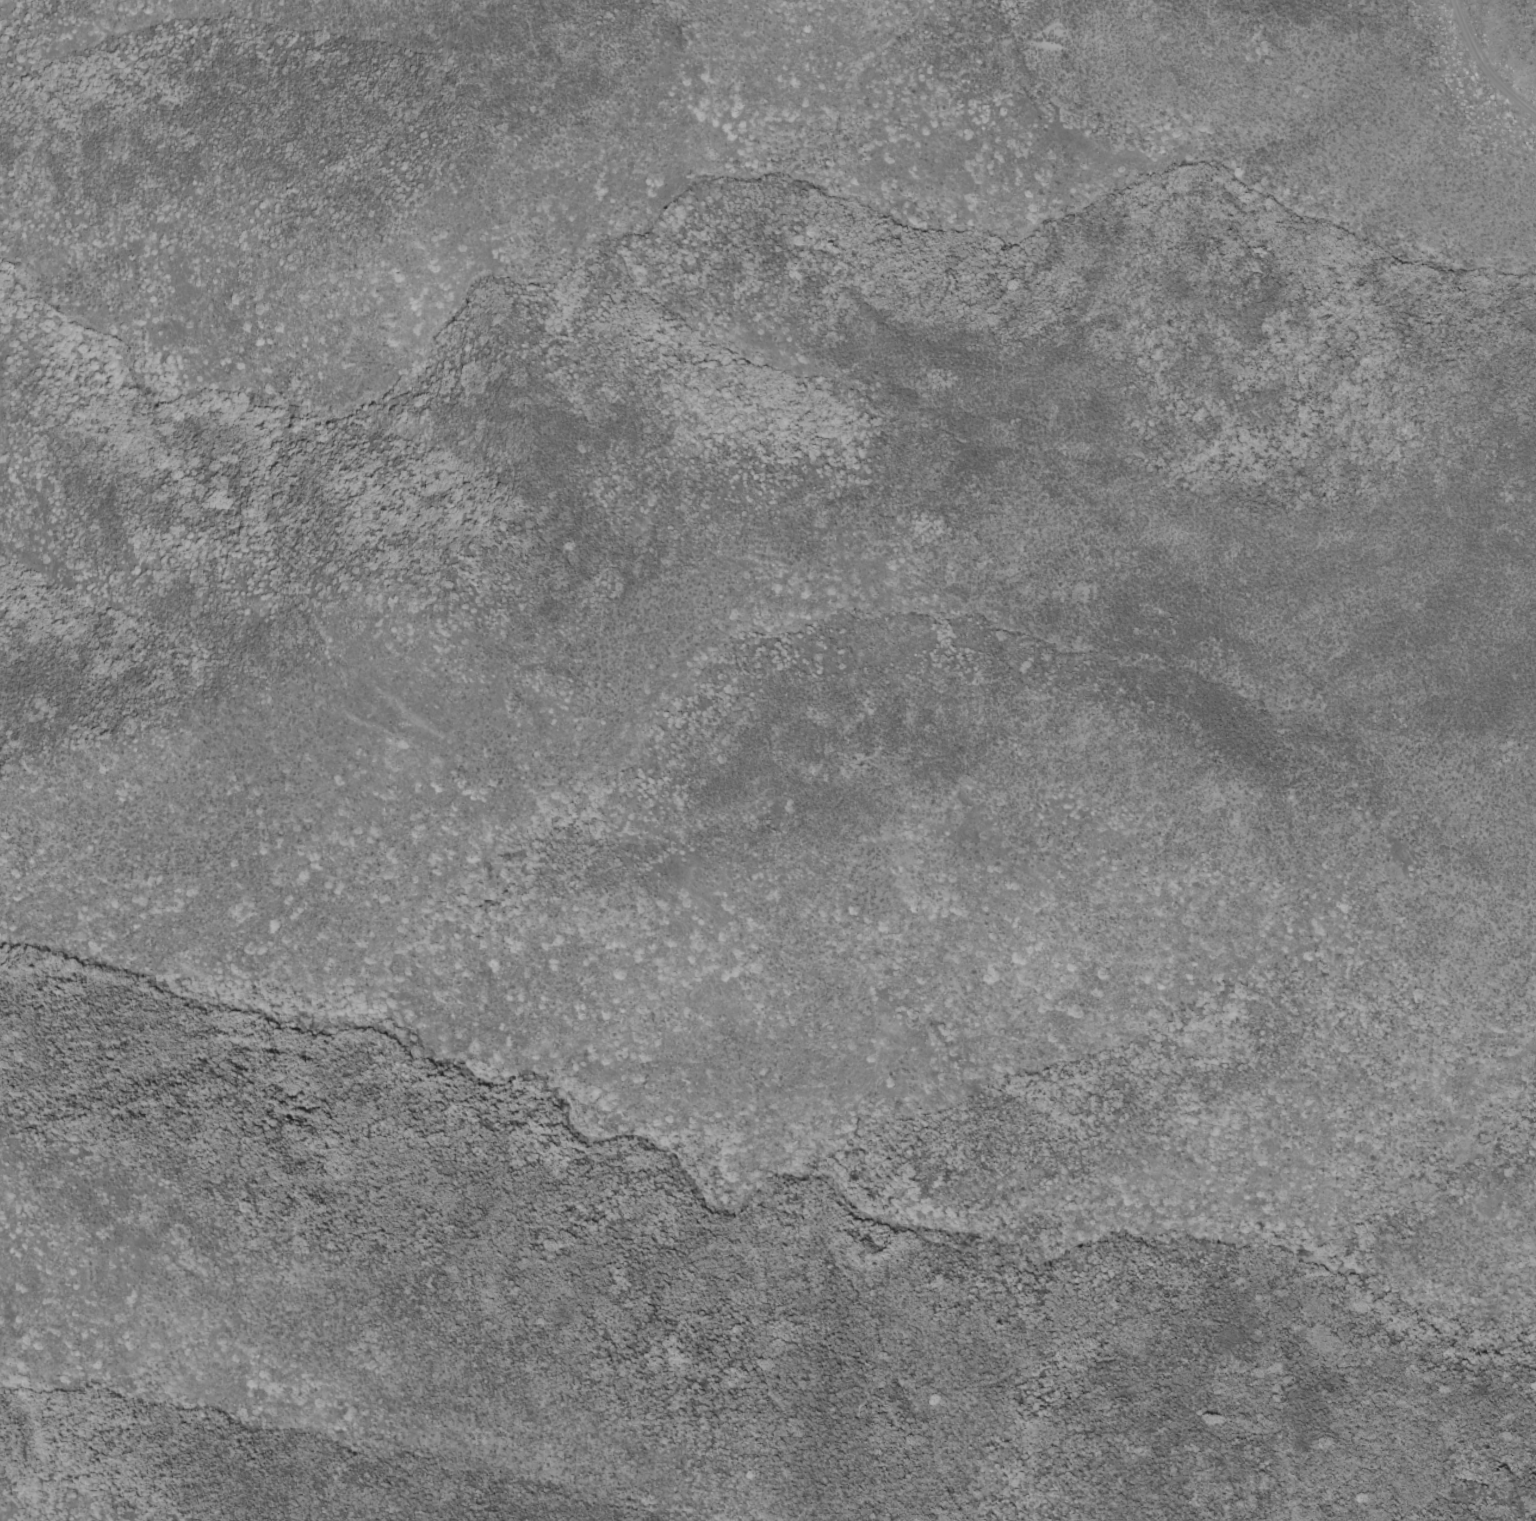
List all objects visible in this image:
road: (1486, 63)

